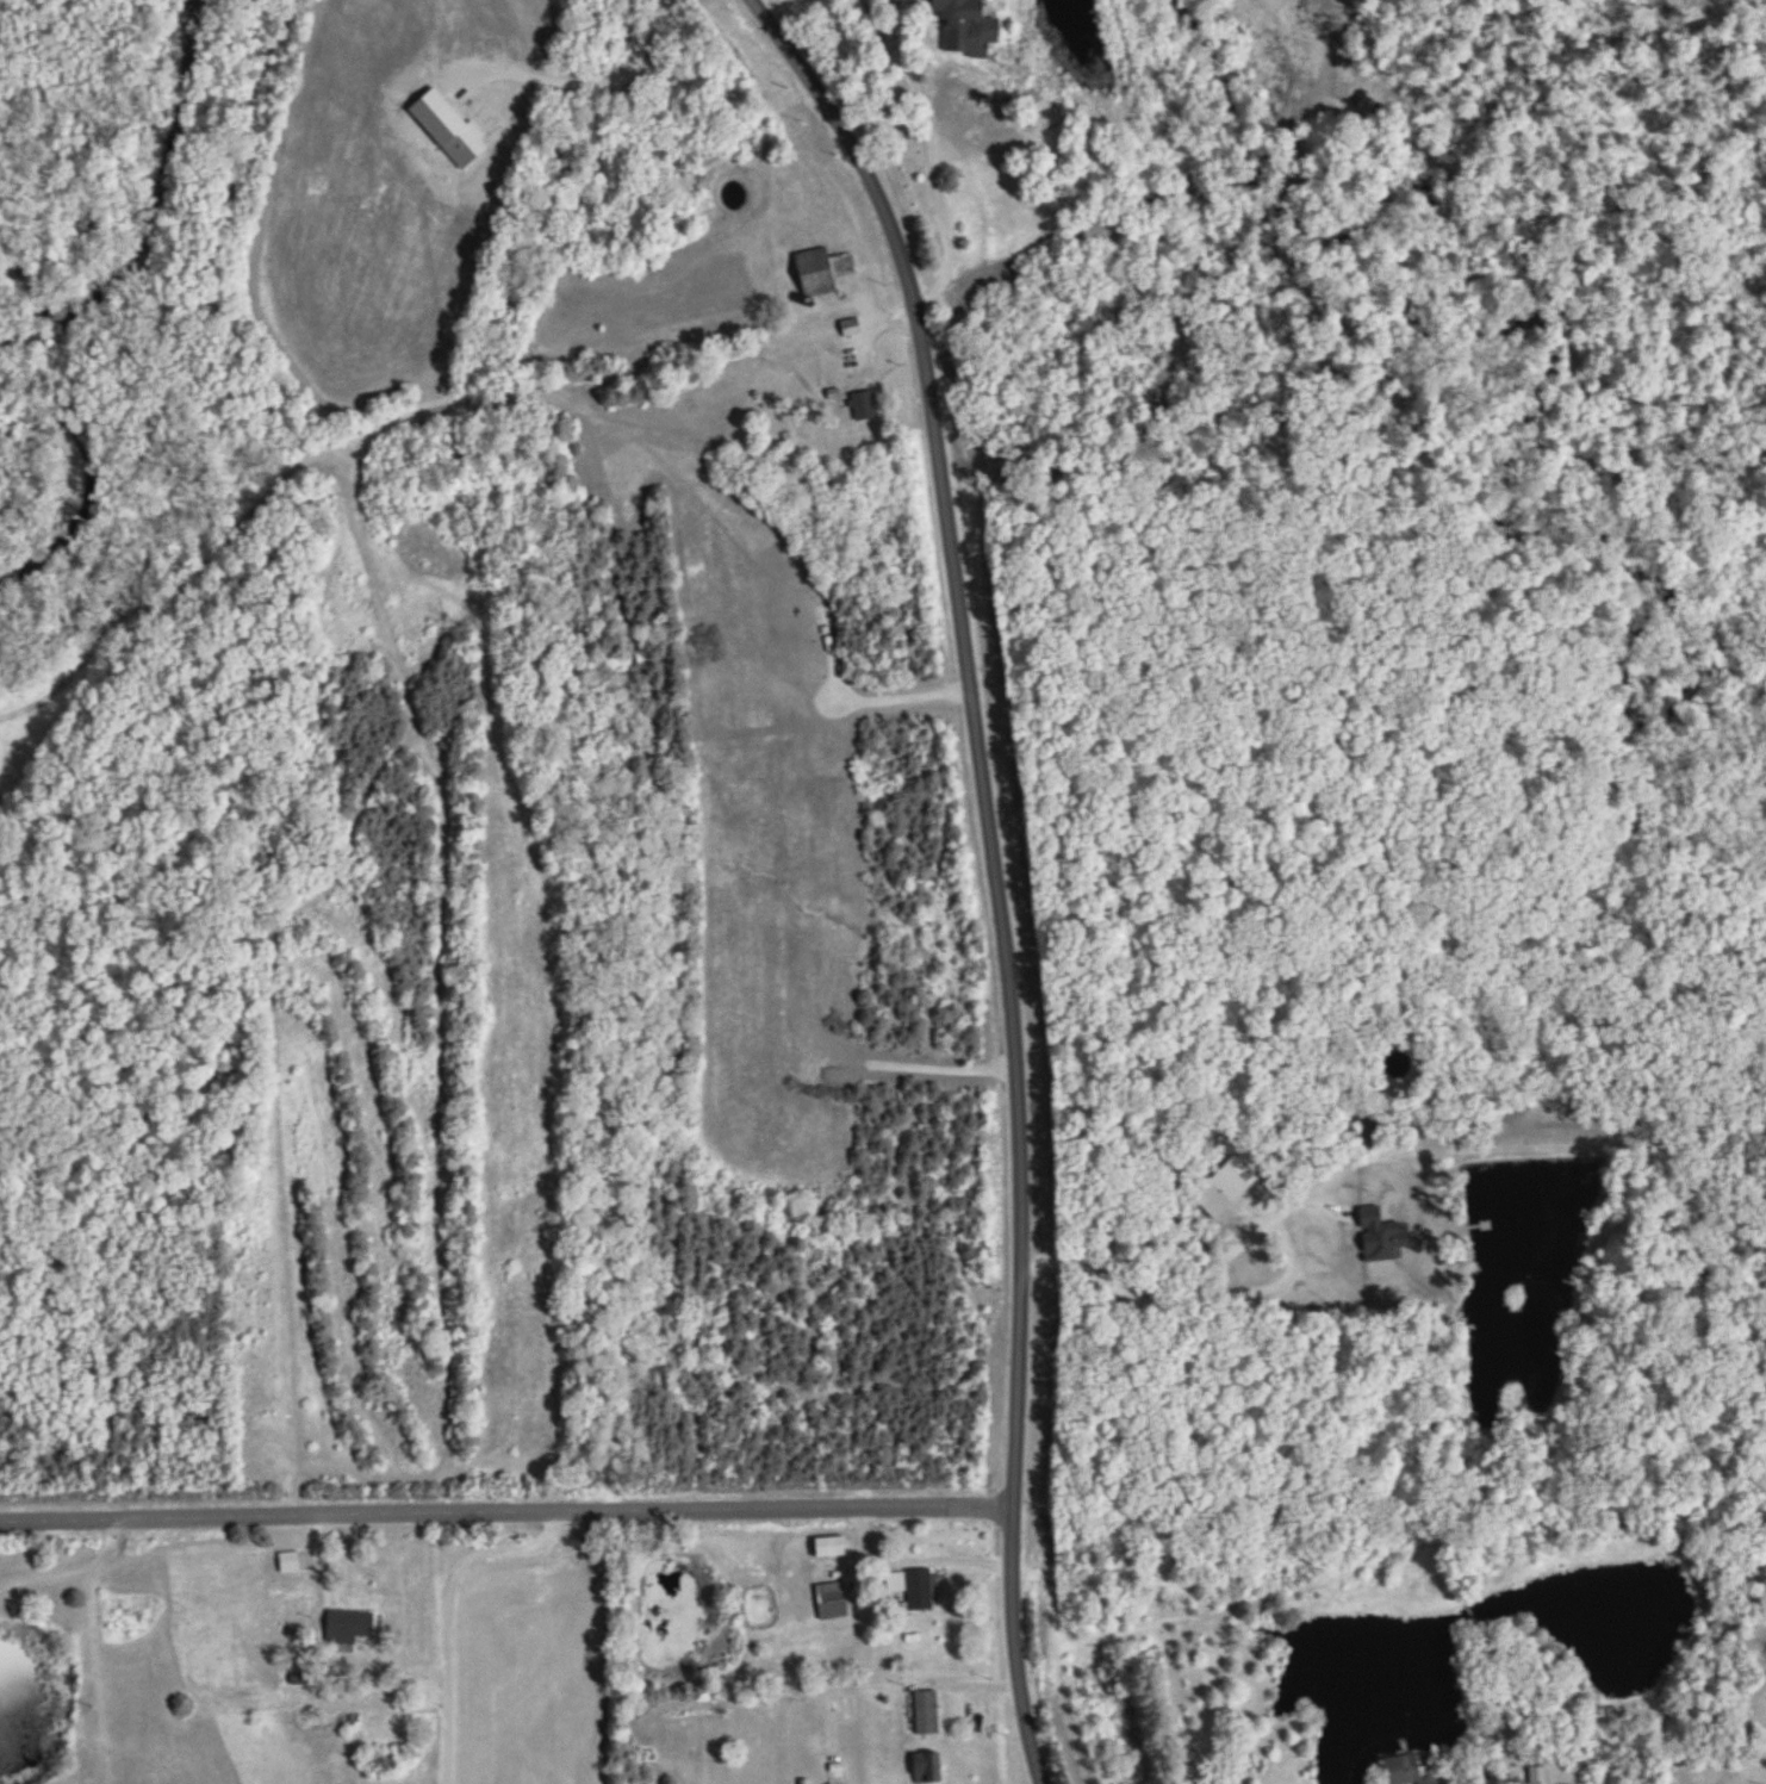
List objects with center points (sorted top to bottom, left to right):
building: (964, 29)
road: (926, 150)
building: (822, 273)
building: (862, 406)
road: (991, 869)
road: (1240, 1291)
road: (506, 1511)
building: (827, 1548)
road: (915, 1559)
building: (298, 1562)
road: (70, 1569)
building: (910, 1589)
building: (831, 1602)
road: (449, 1606)
building: (348, 1628)
building: (925, 1714)
building: (377, 1765)
building: (1407, 1770)

